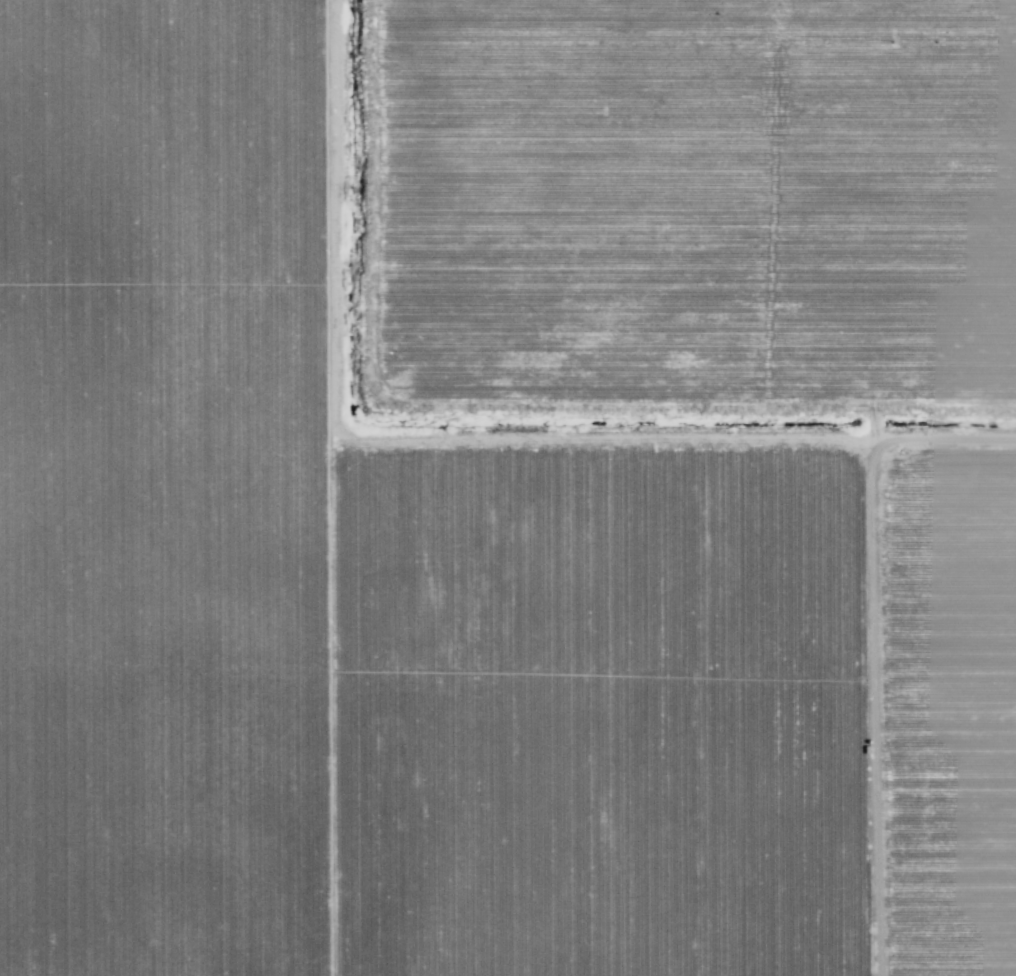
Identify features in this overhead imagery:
crop: (508, 488)

